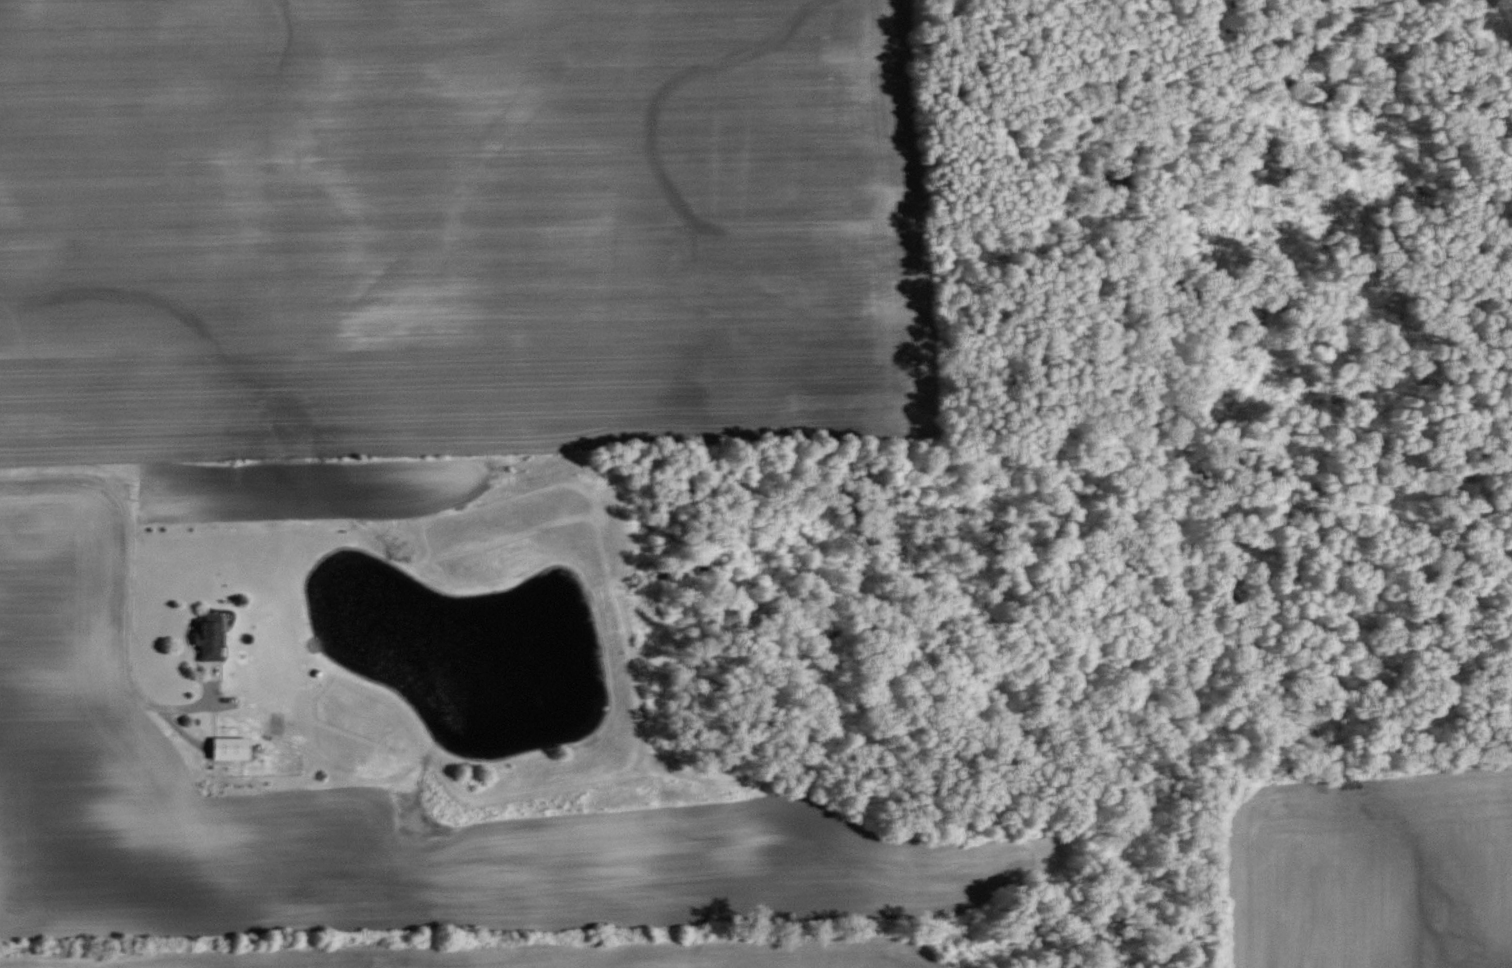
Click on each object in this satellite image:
road: (125, 569)
building: (208, 635)
building: (229, 746)

